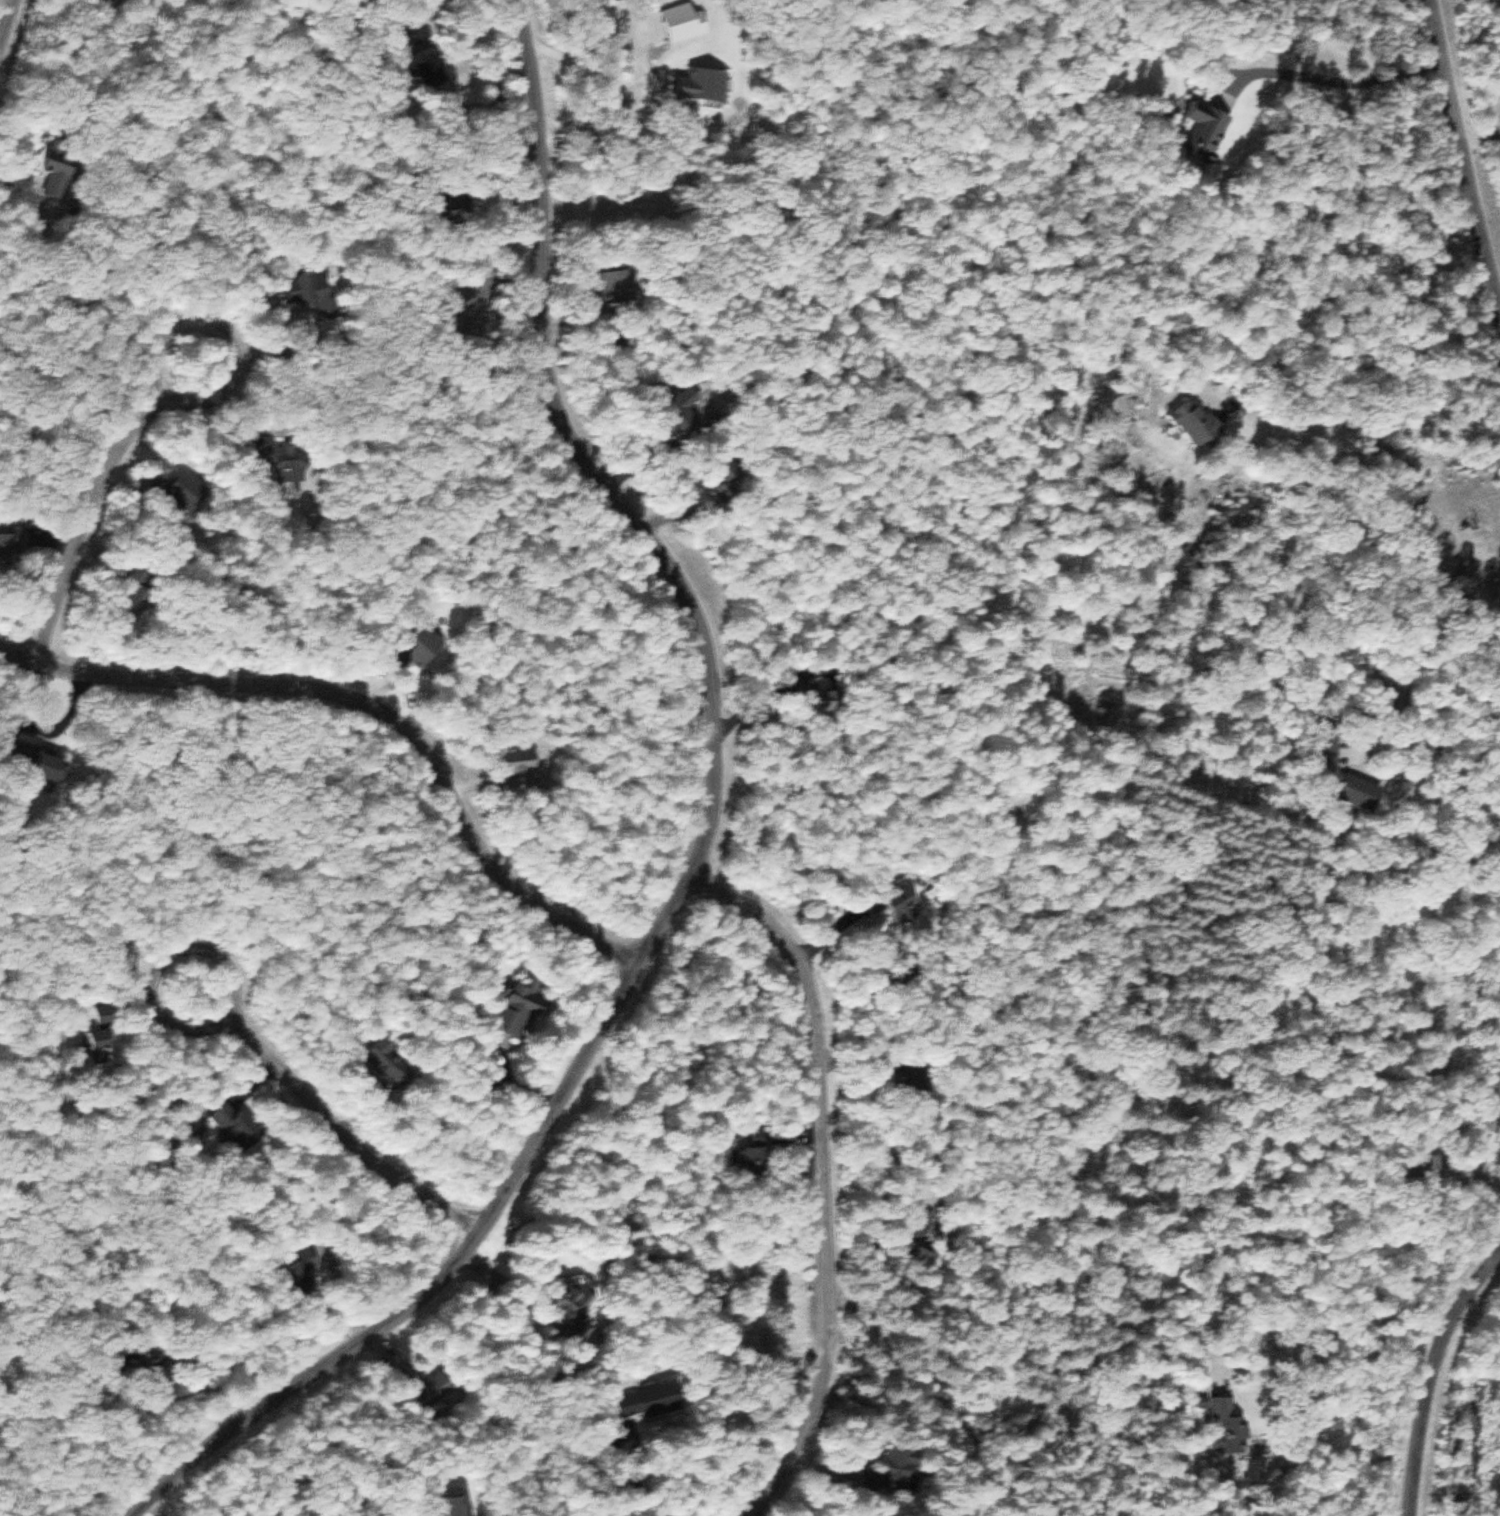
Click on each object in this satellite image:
road: (8, 36)
building: (432, 66)
building: (703, 85)
road: (552, 89)
building: (1194, 132)
road: (1465, 158)
building: (620, 287)
building: (304, 292)
road: (150, 404)
building: (1185, 426)
building: (283, 464)
petroleum well: (1469, 528)
building: (20, 539)
building: (402, 647)
road: (375, 706)
building: (1312, 753)
building: (512, 762)
building: (882, 904)
road: (663, 923)
road: (161, 964)
building: (502, 1009)
building: (373, 1060)
building: (1486, 1098)
building: (229, 1125)
building: (751, 1133)
building: (186, 1134)
road: (347, 1139)
building: (1412, 1166)
road: (818, 1179)
building: (899, 1233)
building: (286, 1273)
building: (553, 1309)
road: (1430, 1373)
building: (125, 1374)
building: (414, 1389)
building: (634, 1402)
building: (1215, 1422)
building: (875, 1475)
building: (436, 1507)

